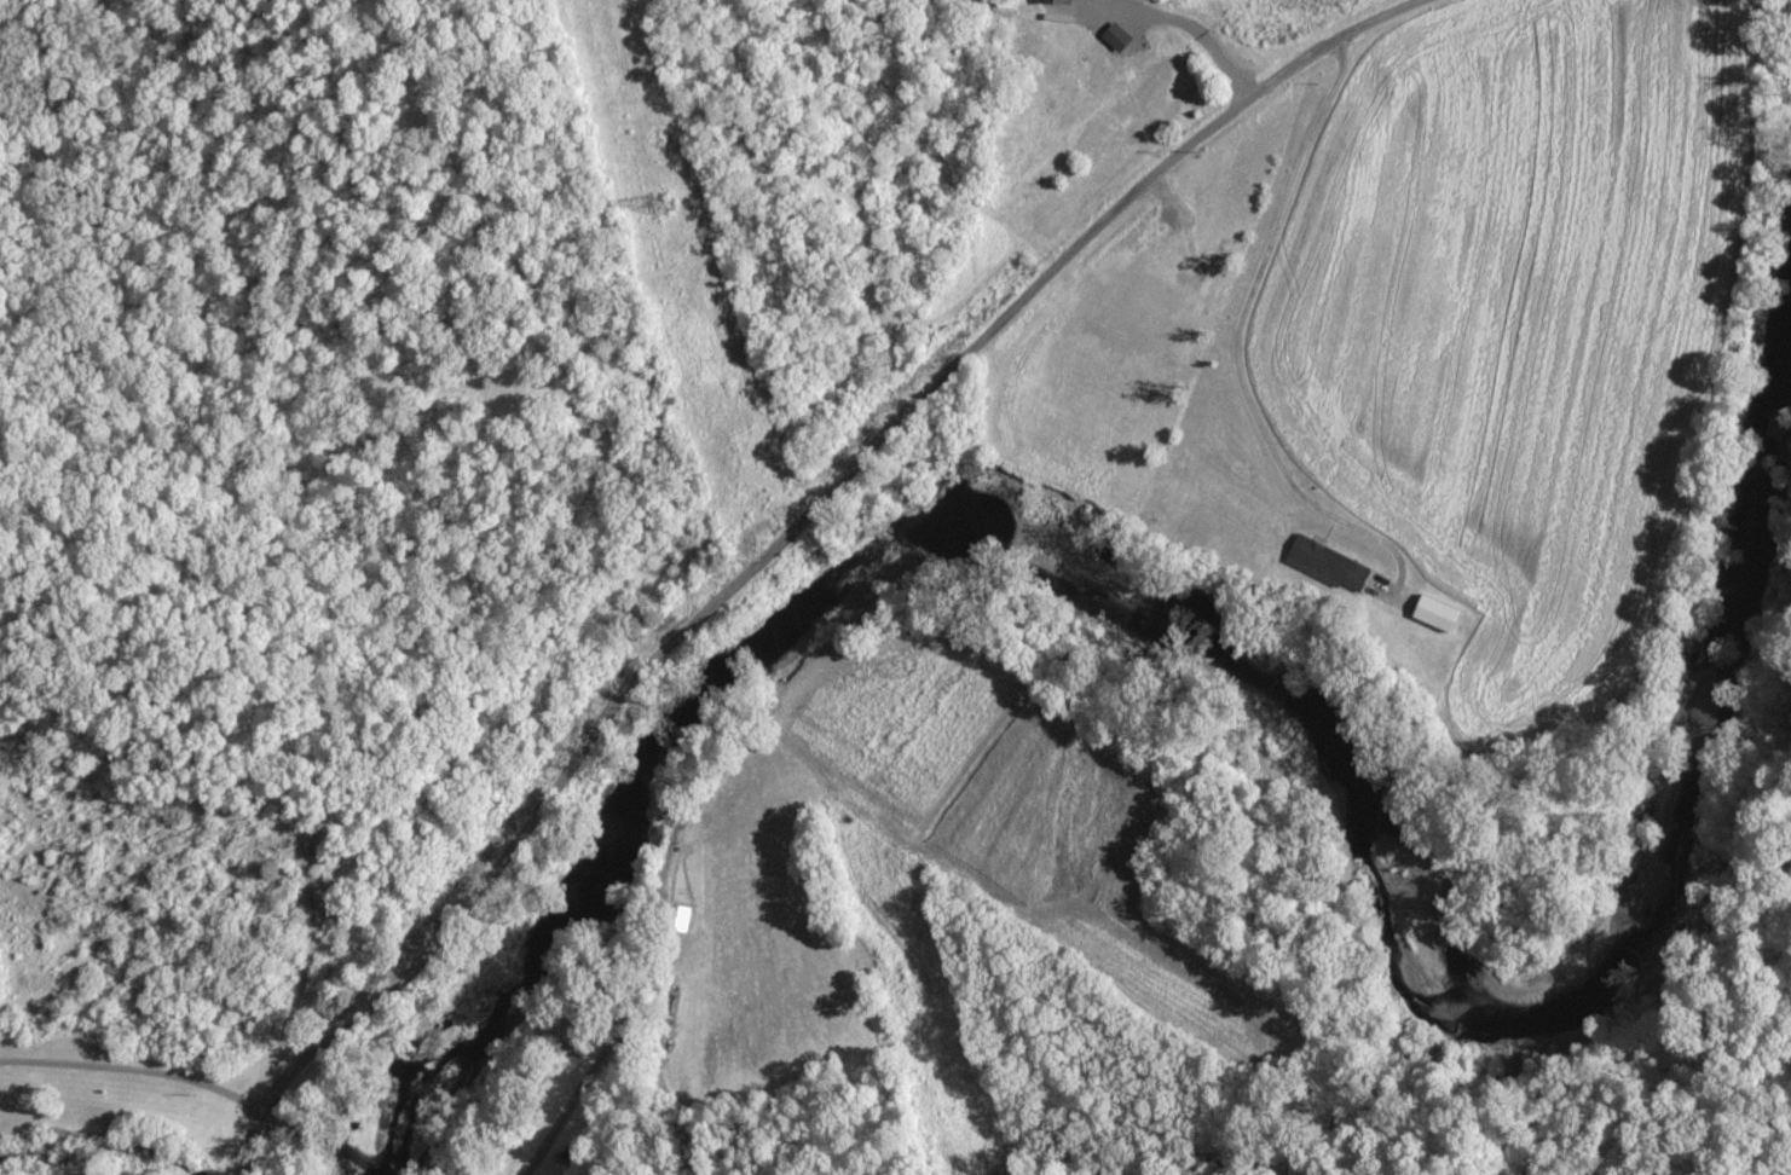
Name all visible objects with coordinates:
building: (1050, 1)
building: (1168, 80)
power tower: (634, 207)
building: (1134, 243)
road: (776, 542)
building: (1323, 560)
building: (1444, 614)
road: (135, 1063)

